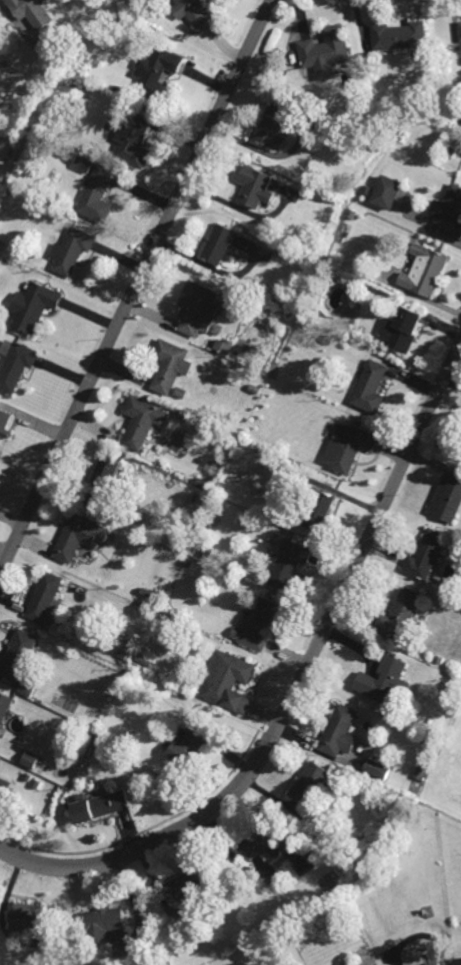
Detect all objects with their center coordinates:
building: (137, 8)
building: (192, 10)
building: (33, 11)
building: (460, 23)
building: (399, 35)
building: (325, 52)
building: (425, 57)
building: (155, 70)
building: (82, 85)
building: (117, 88)
building: (453, 88)
building: (345, 116)
building: (272, 124)
building: (26, 130)
building: (133, 139)
building: (453, 151)
building: (82, 164)
building: (253, 185)
building: (366, 189)
building: (386, 191)
building: (96, 195)
building: (448, 212)
building: (350, 213)
building: (220, 245)
building: (282, 248)
building: (71, 251)
building: (424, 270)
road: (135, 285)
building: (33, 306)
building: (198, 308)
building: (406, 329)
building: (329, 338)
building: (223, 346)
building: (169, 365)
building: (17, 366)
building: (271, 383)
building: (370, 387)
building: (212, 389)
building: (181, 393)
building: (4, 422)
building: (139, 422)
building: (348, 447)
building: (102, 479)
building: (447, 498)
building: (318, 511)
building: (153, 516)
building: (77, 537)
building: (207, 553)
building: (424, 555)
building: (187, 563)
building: (288, 563)
building: (147, 594)
building: (42, 597)
building: (399, 616)
building: (256, 623)
building: (111, 635)
building: (17, 652)
building: (438, 659)
building: (147, 660)
building: (382, 678)
building: (227, 679)
building: (27, 684)
road: (297, 684)
building: (4, 704)
building: (338, 730)
building: (98, 737)
building: (189, 741)
building: (29, 758)
building: (375, 767)
building: (420, 771)
building: (27, 775)
track: (460, 775)
building: (308, 780)
building: (37, 782)
building: (4, 787)
building: (97, 804)
building: (262, 843)
building: (351, 861)
building: (184, 884)
building: (31, 915)
building: (103, 921)
building: (408, 962)
building: (432, 963)

